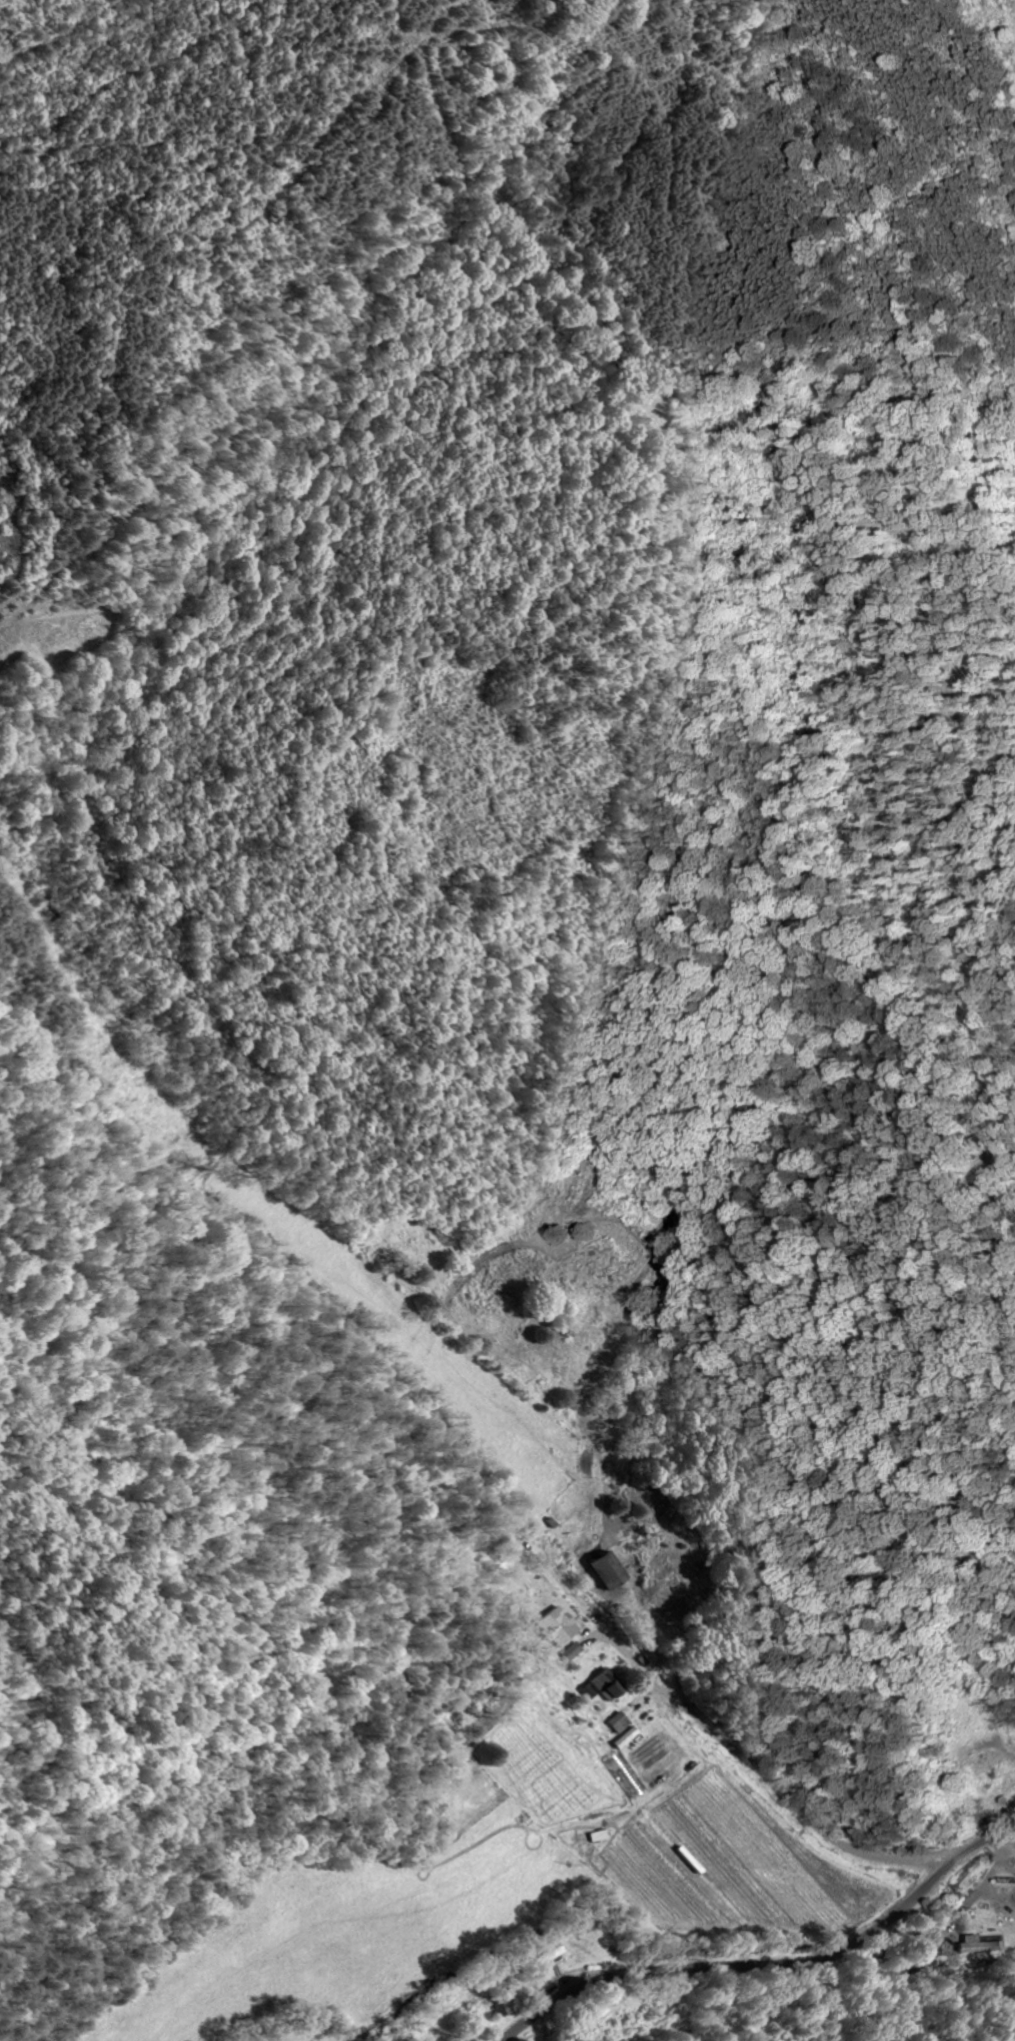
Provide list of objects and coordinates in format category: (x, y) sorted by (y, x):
road: (527, 1542)
building: (602, 1569)
building: (558, 1626)
building: (572, 1652)
building: (616, 1723)
building: (628, 1735)
road: (1004, 1748)
road: (798, 1750)
road: (996, 1815)
road: (1007, 1861)
road: (981, 1882)
building: (978, 1944)
road: (773, 1963)
building: (504, 2002)

